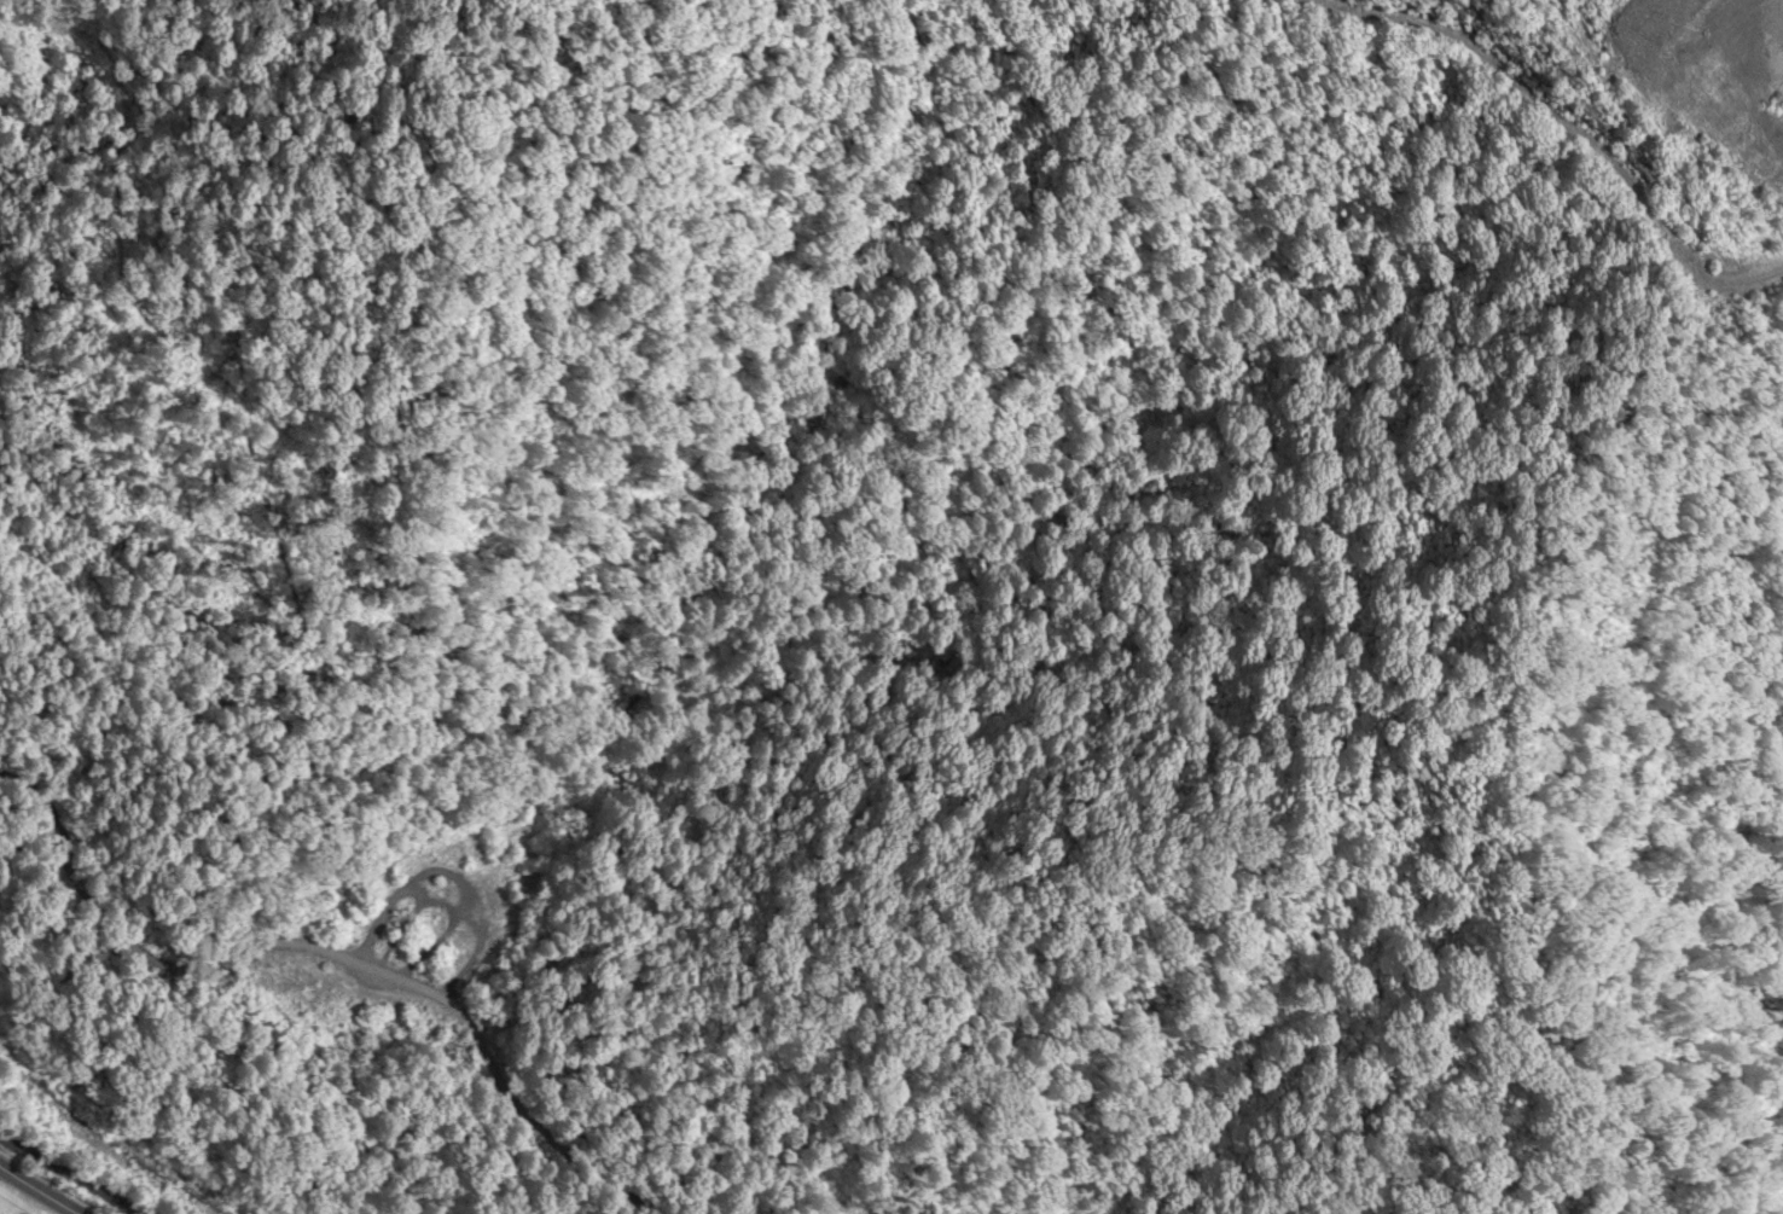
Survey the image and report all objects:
railway: (106, 1138)
road: (34, 1195)

